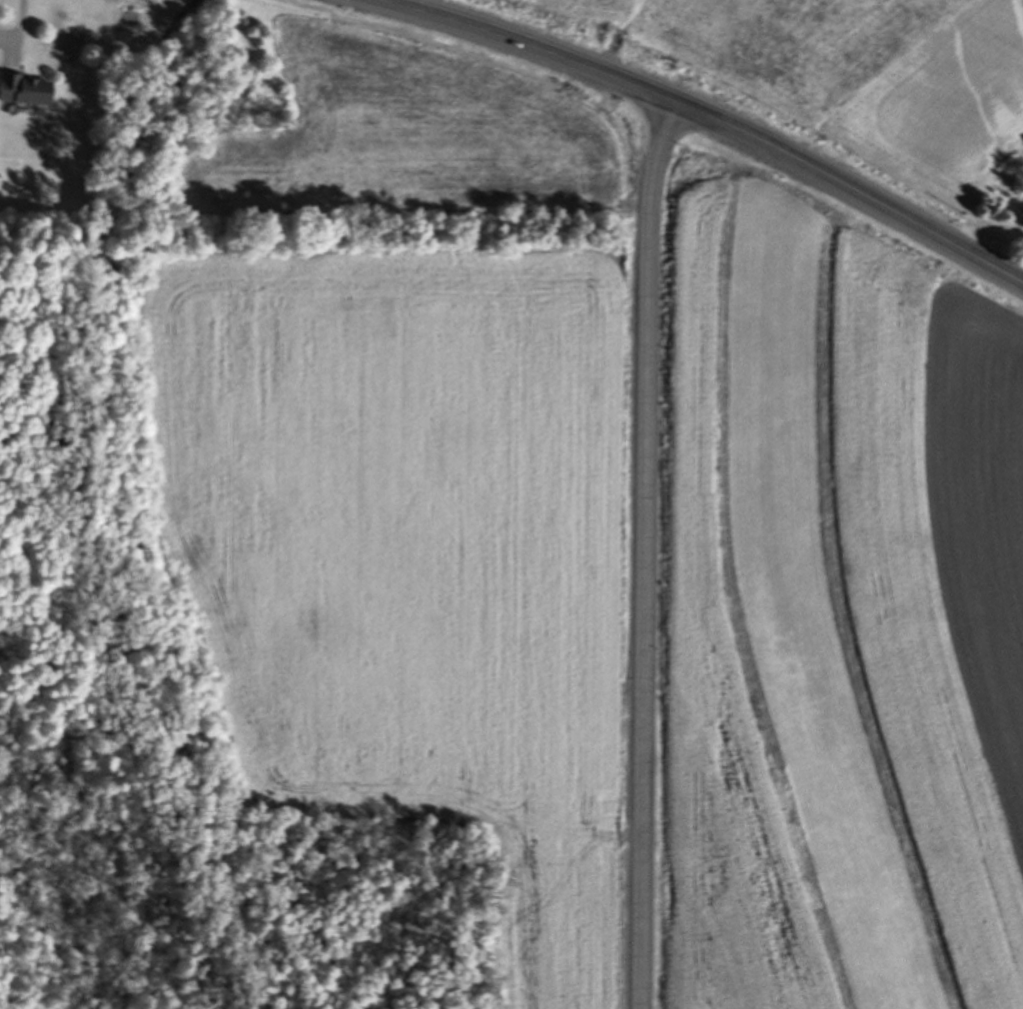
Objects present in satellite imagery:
road: (14, 31)
road: (519, 41)
building: (26, 93)
road: (839, 182)
building: (1021, 224)
road: (645, 550)

